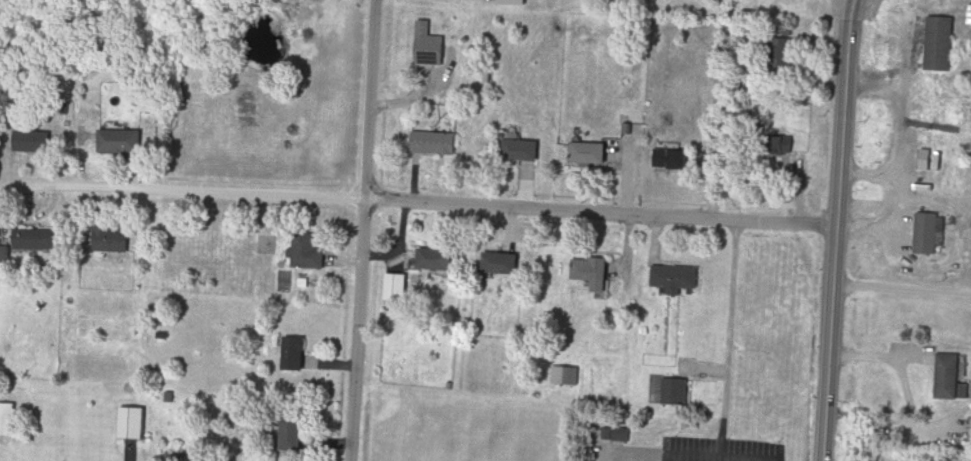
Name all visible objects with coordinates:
building: (937, 41)
building: (430, 46)
building: (784, 54)
building: (33, 142)
building: (121, 142)
building: (437, 144)
building: (525, 151)
building: (592, 154)
road: (894, 156)
building: (673, 158)
road: (865, 177)
road: (0, 192)
road: (417, 203)
road: (833, 229)
road: (363, 230)
building: (928, 234)
building: (36, 240)
building: (113, 240)
building: (309, 253)
building: (5, 255)
building: (438, 261)
building: (502, 264)
building: (593, 273)
building: (677, 279)
building: (397, 288)
road: (901, 290)
road: (726, 343)
building: (296, 355)
building: (567, 377)
building: (954, 379)
building: (674, 393)
building: (8, 420)
building: (132, 424)
building: (297, 435)
building: (620, 435)

